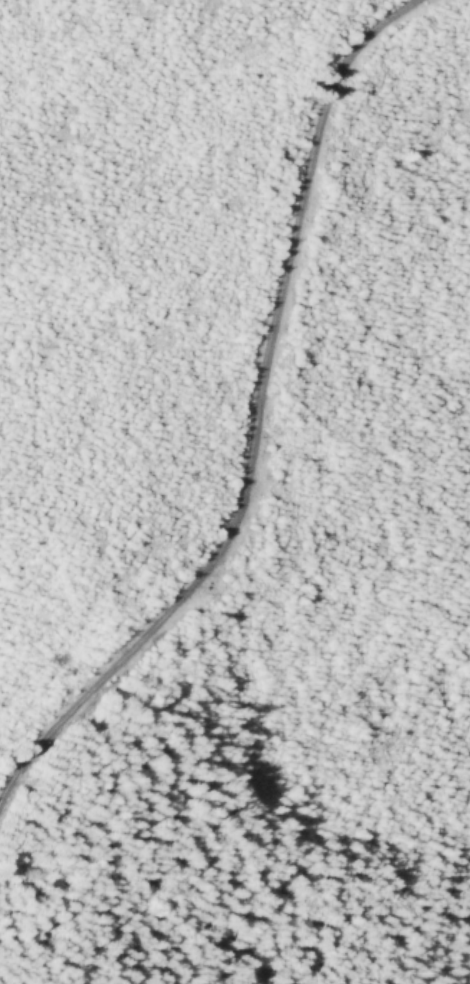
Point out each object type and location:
road: (253, 421)

